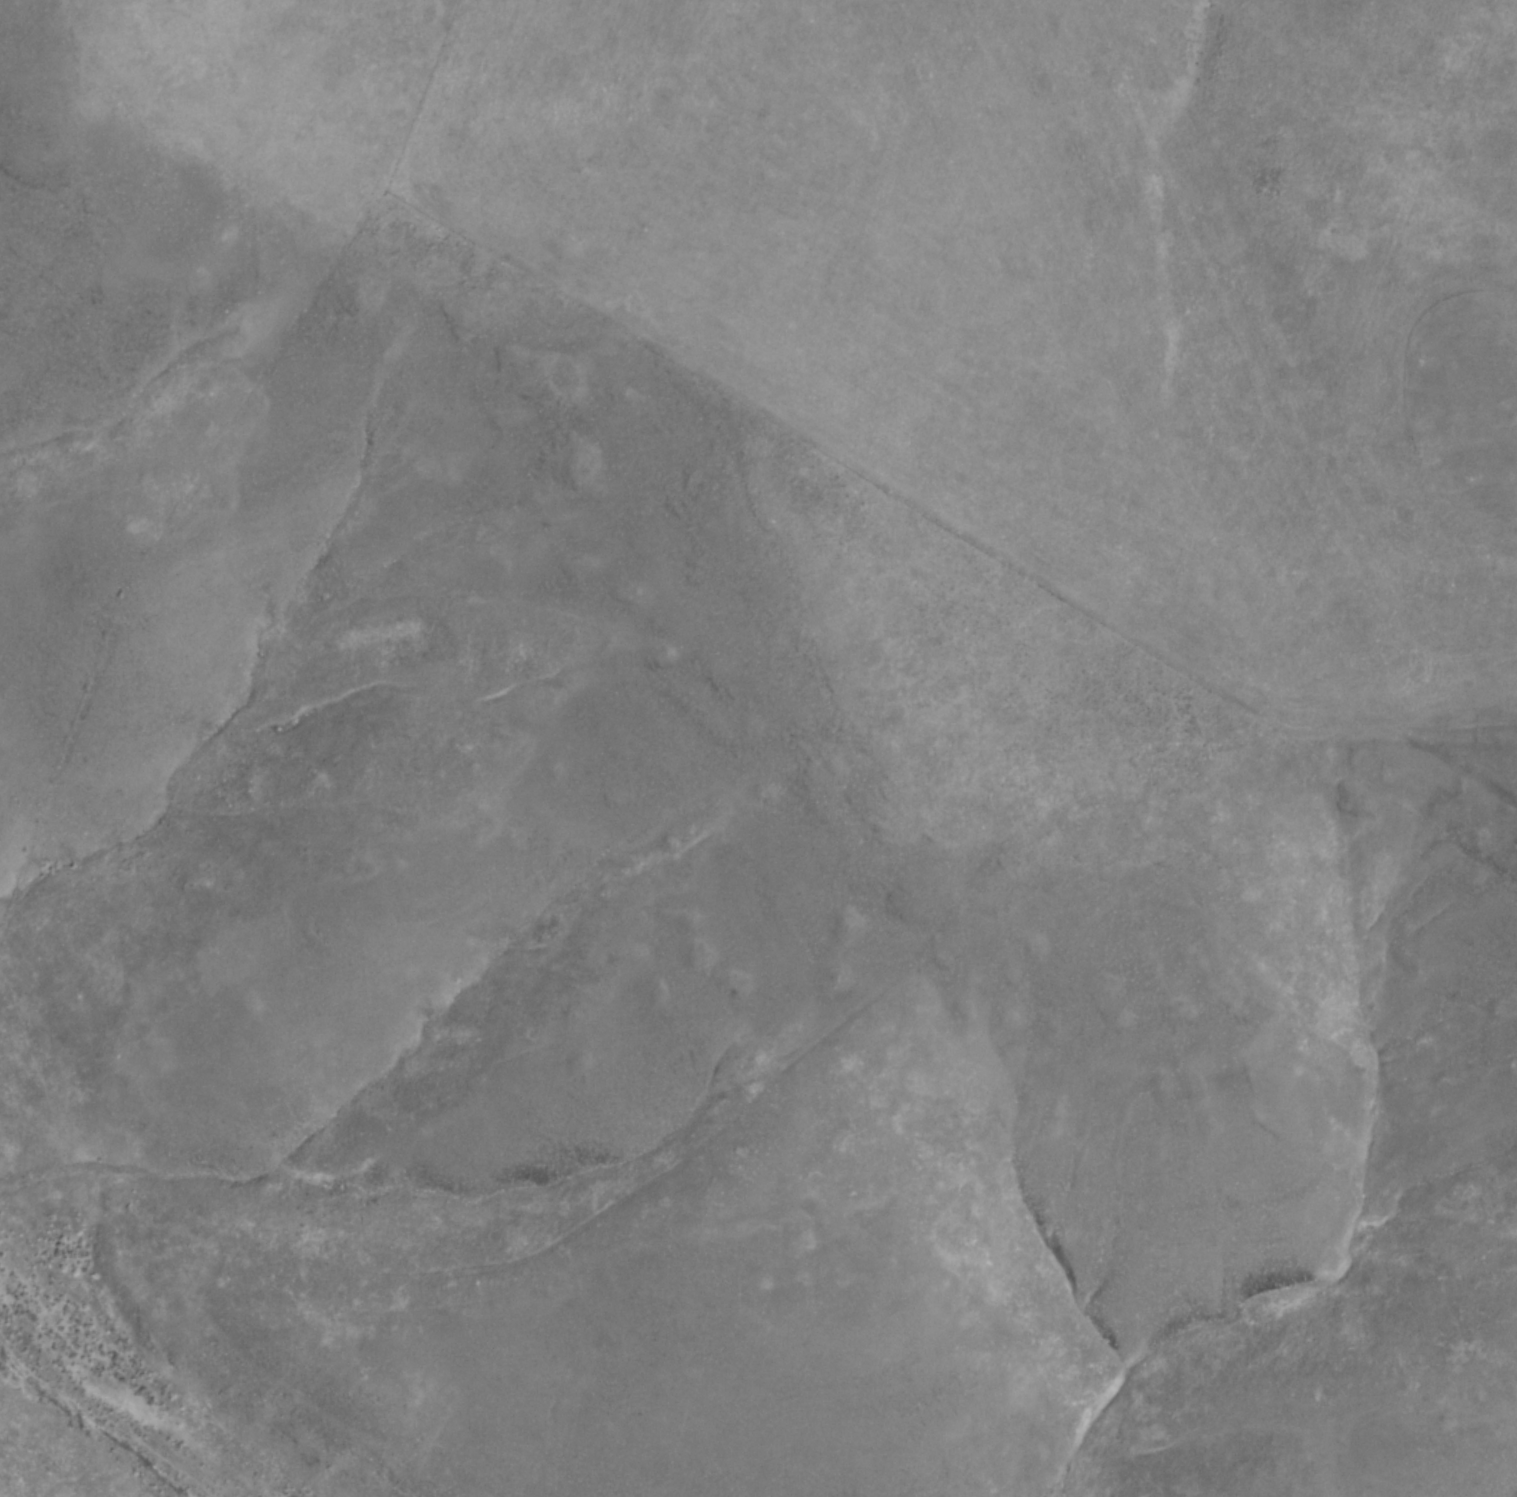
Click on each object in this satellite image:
road: (1152, 451)

